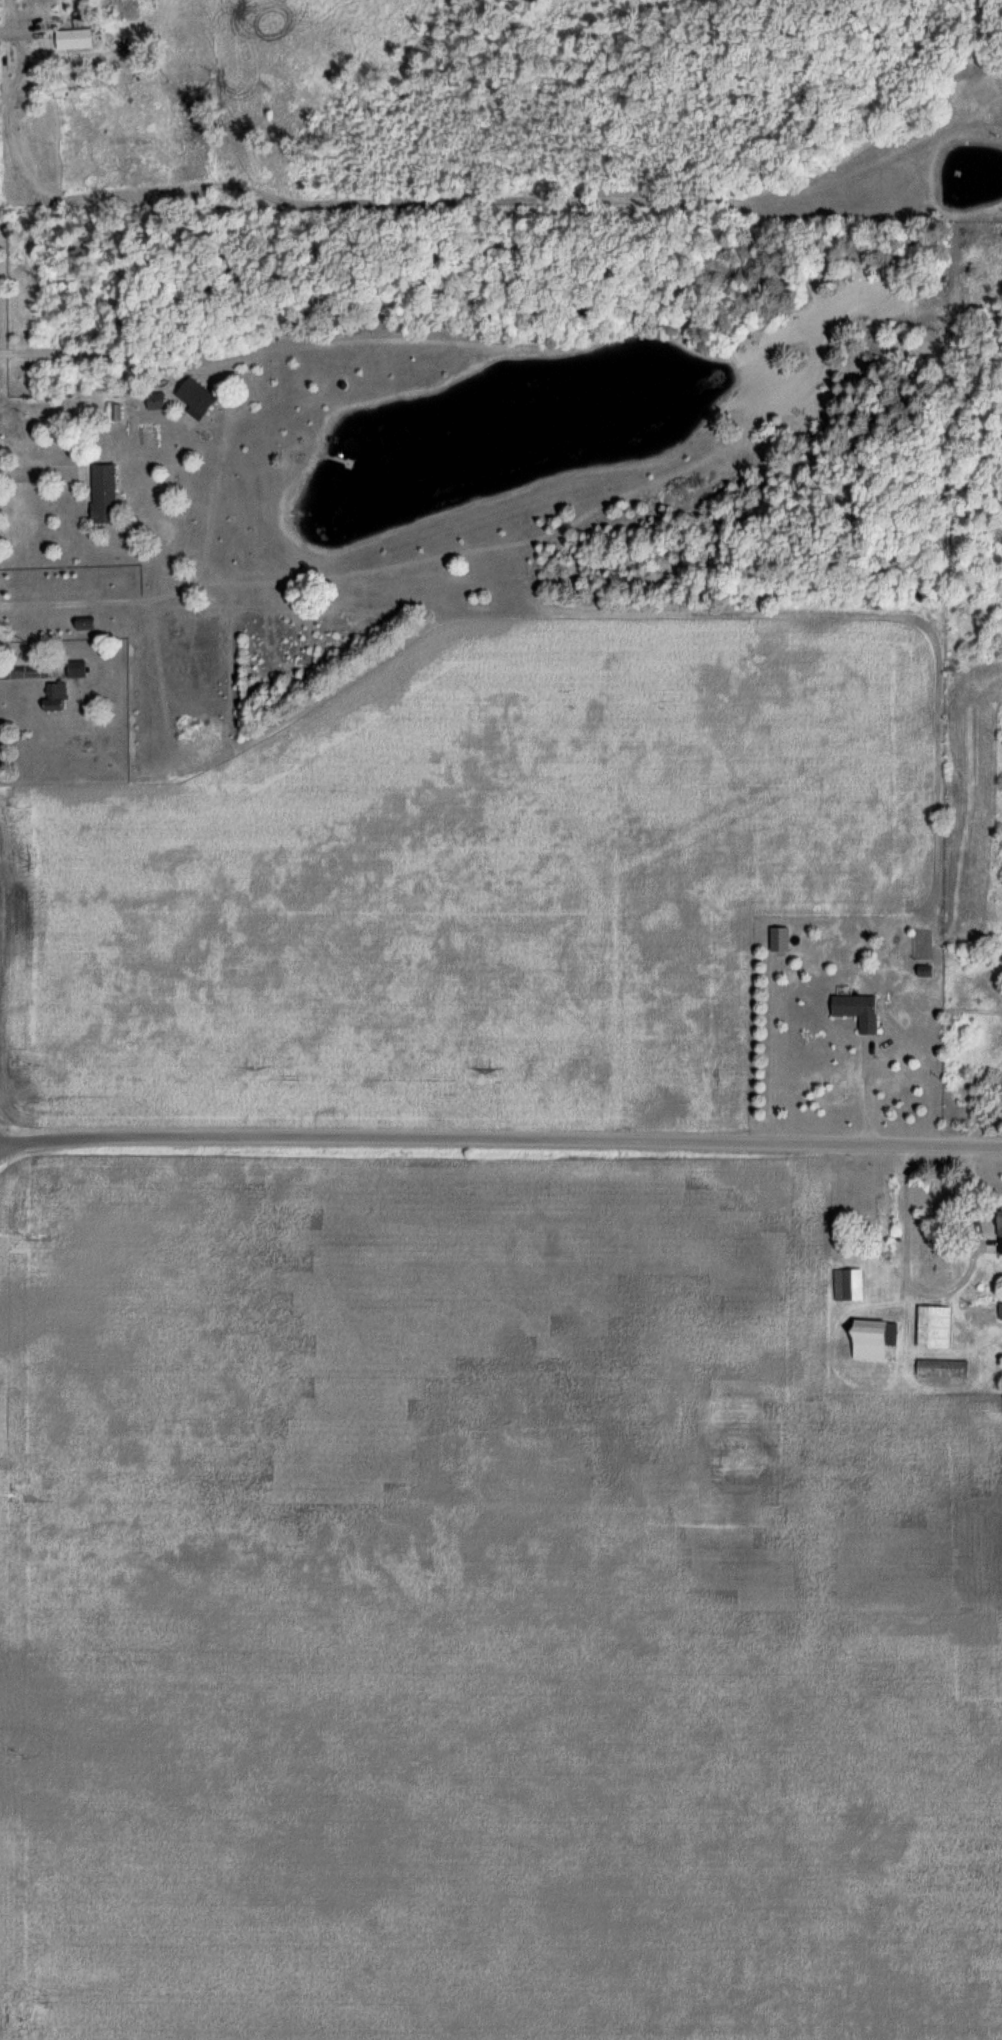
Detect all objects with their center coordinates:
building: (77, 38)
building: (199, 398)
building: (106, 492)
building: (89, 623)
building: (79, 668)
building: (58, 696)
building: (861, 1010)
road: (861, 1088)
road: (500, 1138)
building: (1001, 1234)
building: (850, 1284)
building: (937, 1326)
building: (874, 1340)
building: (944, 1367)

